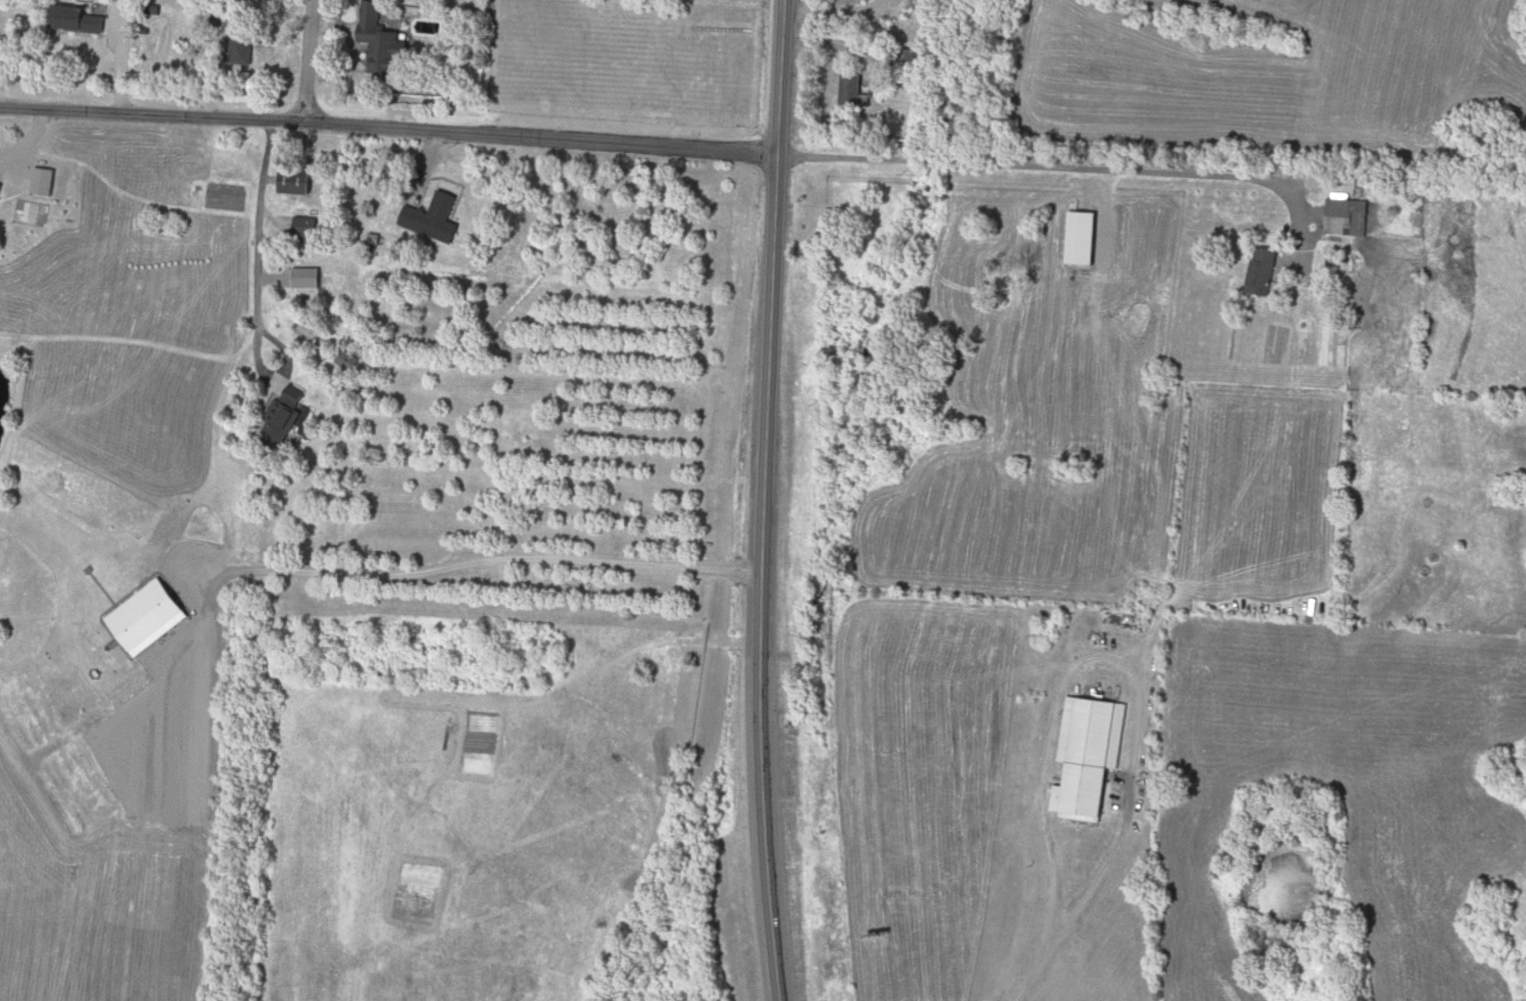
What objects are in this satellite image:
building: (480, 5)
building: (76, 19)
building: (244, 48)
building: (386, 53)
road: (121, 56)
road: (308, 62)
building: (855, 88)
road: (387, 130)
road: (1071, 172)
building: (299, 181)
building: (1349, 218)
building: (435, 219)
road: (253, 225)
road: (768, 229)
building: (1263, 270)
road: (263, 379)
building: (285, 418)
road: (212, 449)
road: (359, 575)
road: (1108, 657)
road: (749, 730)
building: (1090, 757)
road: (1023, 983)

